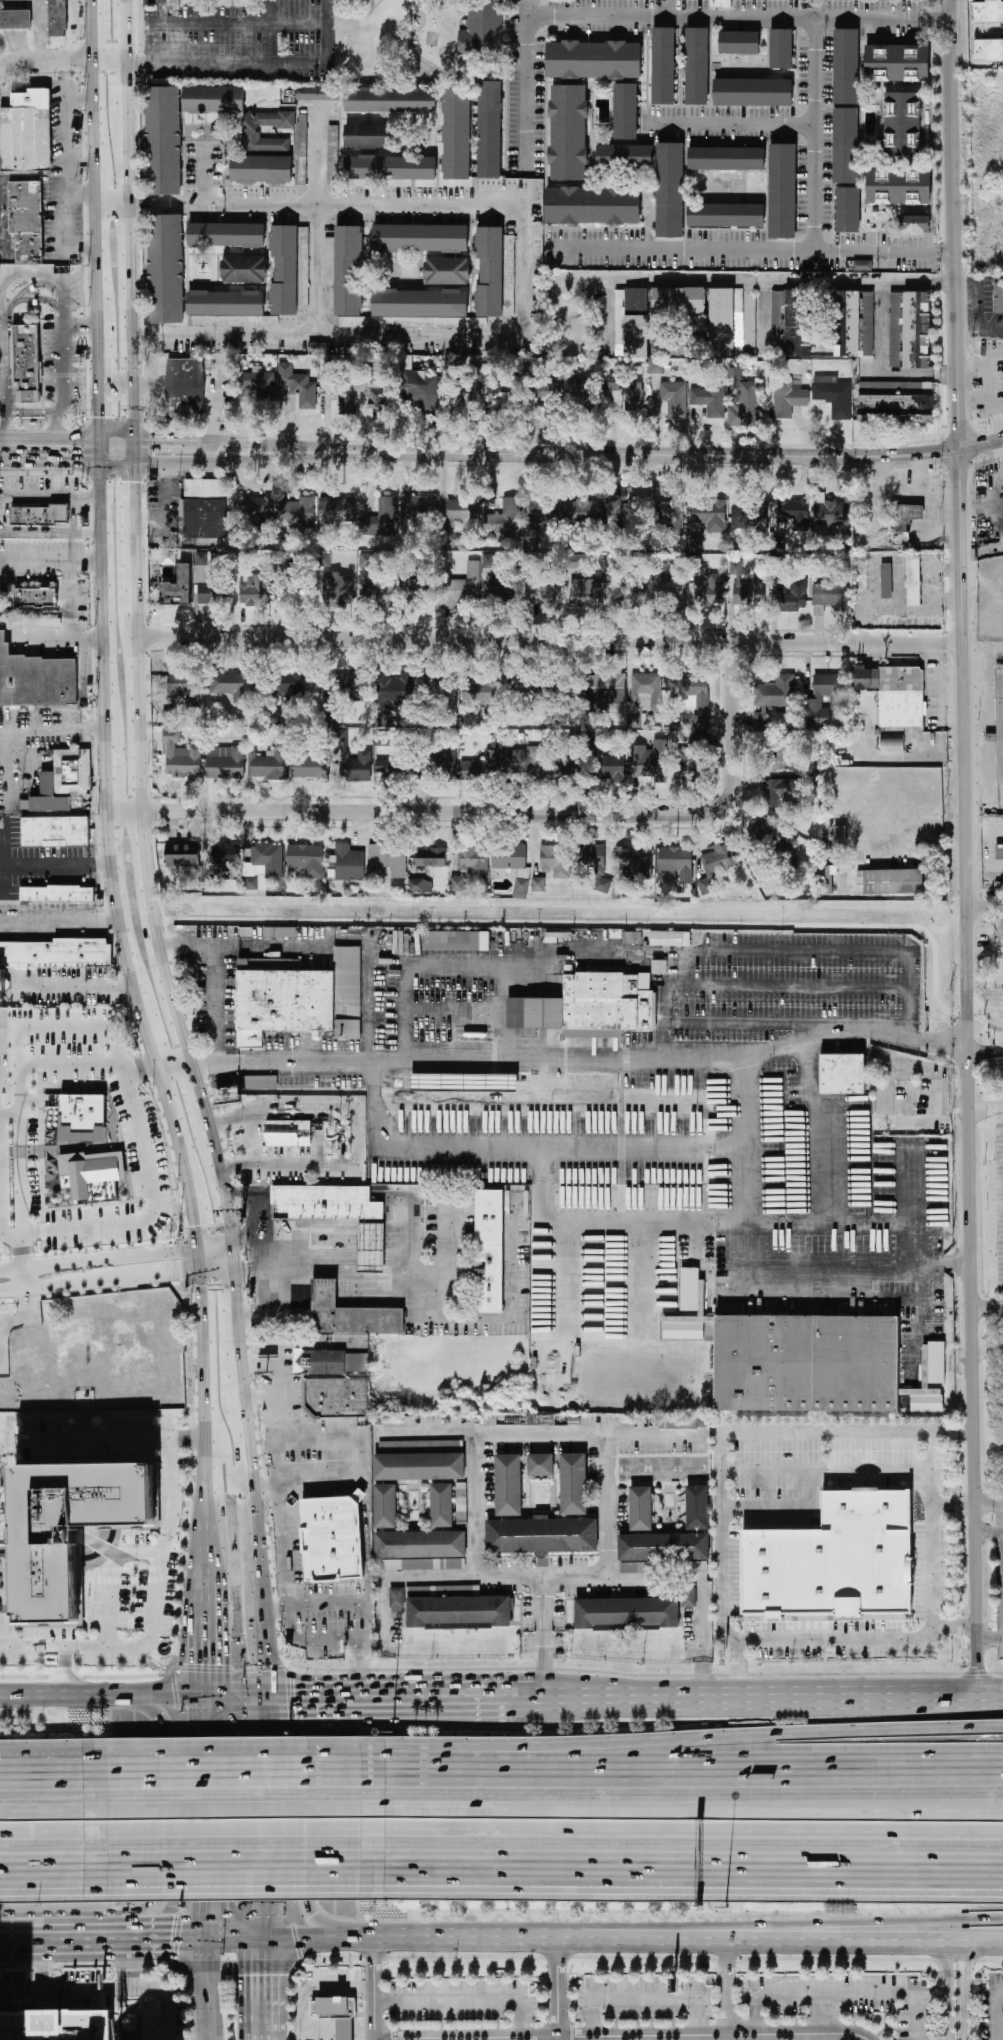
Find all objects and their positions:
building: (988, 12)
building: (57, 18)
road: (740, 19)
building: (15, 20)
road: (220, 25)
building: (482, 30)
road: (40, 31)
road: (13, 32)
road: (95, 32)
road: (269, 32)
building: (739, 43)
building: (781, 49)
building: (988, 50)
building: (594, 60)
road: (47, 62)
building: (897, 63)
road: (110, 64)
road: (258, 64)
building: (663, 66)
building: (697, 66)
building: (846, 66)
road: (493, 70)
road: (64, 80)
road: (527, 92)
building: (753, 92)
building: (318, 93)
road: (81, 96)
building: (391, 100)
road: (96, 102)
building: (625, 112)
road: (732, 123)
building: (902, 124)
building: (179, 127)
road: (67, 129)
building: (490, 130)
building: (27, 132)
building: (568, 133)
building: (456, 134)
road: (819, 135)
building: (367, 136)
building: (845, 145)
building: (263, 151)
building: (624, 156)
building: (726, 158)
road: (82, 166)
building: (390, 168)
road: (204, 175)
road: (70, 177)
road: (98, 185)
building: (899, 186)
building: (670, 190)
building: (782, 191)
road: (222, 204)
road: (59, 205)
road: (421, 205)
building: (592, 205)
building: (848, 210)
building: (726, 215)
road: (317, 217)
road: (127, 219)
building: (26, 220)
building: (913, 225)
road: (113, 232)
building: (226, 235)
building: (420, 238)
road: (754, 250)
road: (80, 252)
building: (285, 256)
building: (862, 265)
building: (166, 268)
building: (244, 269)
building: (447, 270)
road: (525, 270)
road: (49, 274)
building: (493, 275)
road: (101, 278)
building: (350, 279)
road: (39, 283)
road: (760, 285)
building: (998, 297)
building: (678, 301)
building: (420, 306)
road: (607, 314)
road: (770, 318)
building: (636, 323)
building: (853, 324)
road: (980, 327)
road: (5, 328)
building: (910, 330)
road: (326, 336)
road: (104, 348)
road: (62, 362)
building: (25, 366)
building: (656, 366)
road: (886, 367)
road: (0, 379)
building: (259, 384)
building: (184, 389)
building: (294, 389)
road: (115, 390)
building: (421, 391)
building: (580, 391)
building: (340, 394)
building: (499, 396)
building: (833, 396)
building: (634, 397)
building: (674, 398)
building: (378, 399)
building: (551, 399)
building: (788, 399)
building: (709, 400)
building: (895, 402)
road: (105, 405)
building: (744, 406)
road: (31, 412)
traffic signals: (105, 417)
road: (6, 425)
road: (52, 439)
road: (115, 439)
traffic signals: (150, 439)
road: (162, 439)
road: (273, 442)
road: (105, 452)
road: (126, 452)
road: (676, 457)
road: (237, 462)
road: (12, 465)
road: (64, 465)
traffic signals: (83, 466)
road: (115, 466)
road: (170, 471)
traffic signals: (126, 483)
road: (52, 497)
road: (126, 500)
building: (419, 507)
building: (258, 508)
road: (170, 509)
building: (462, 510)
building: (337, 511)
building: (296, 512)
building: (830, 512)
building: (584, 513)
building: (793, 514)
building: (40, 515)
building: (670, 515)
building: (711, 515)
building: (504, 517)
building: (749, 517)
road: (137, 518)
building: (205, 518)
building: (382, 519)
building: (538, 519)
building: (902, 523)
road: (52, 533)
building: (695, 544)
road: (53, 556)
building: (167, 558)
building: (369, 560)
building: (578, 561)
building: (992, 563)
road: (127, 566)
building: (913, 580)
building: (886, 581)
building: (478, 585)
building: (177, 587)
building: (416, 588)
building: (664, 588)
building: (745, 588)
building: (255, 590)
building: (297, 590)
building: (337, 590)
building: (709, 591)
building: (207, 592)
building: (543, 594)
building: (585, 594)
building: (378, 595)
building: (793, 596)
building: (830, 596)
building: (34, 597)
road: (70, 598)
road: (171, 611)
building: (38, 623)
road: (75, 639)
road: (546, 641)
building: (35, 680)
building: (288, 683)
building: (233, 685)
building: (182, 687)
building: (394, 690)
building: (438, 691)
building: (480, 691)
building: (646, 691)
building: (694, 691)
building: (606, 694)
building: (895, 694)
building: (771, 698)
building: (822, 700)
building: (170, 715)
building: (700, 721)
building: (998, 724)
road: (55, 725)
building: (697, 739)
building: (892, 743)
building: (784, 753)
building: (180, 757)
building: (650, 761)
building: (225, 762)
building: (352, 762)
building: (522, 763)
building: (267, 765)
building: (445, 765)
building: (309, 767)
building: (480, 767)
building: (386, 768)
building: (610, 768)
building: (563, 769)
building: (688, 770)
road: (108, 773)
building: (61, 782)
building: (781, 794)
road: (500, 813)
road: (931, 826)
building: (55, 832)
road: (137, 834)
building: (837, 839)
road: (965, 847)
building: (999, 851)
building: (182, 855)
building: (430, 857)
building: (509, 857)
building: (592, 857)
building: (226, 858)
building: (268, 858)
building: (473, 860)
building: (305, 861)
building: (387, 861)
building: (555, 861)
building: (677, 862)
building: (347, 863)
road: (39, 865)
building: (633, 865)
building: (715, 865)
building: (253, 877)
building: (890, 881)
building: (457, 883)
building: (538, 884)
building: (602, 884)
building: (420, 885)
building: (521, 888)
building: (58, 894)
road: (984, 907)
road: (60, 925)
building: (669, 939)
building: (456, 941)
road: (241, 944)
road: (618, 946)
building: (58, 953)
building: (659, 966)
building: (2, 984)
road: (76, 986)
building: (299, 999)
road: (221, 1001)
road: (411, 1005)
building: (590, 1006)
road: (436, 1009)
road: (985, 1050)
road: (582, 1058)
building: (842, 1074)
building: (259, 1082)
road: (18, 1096)
road: (196, 1097)
road: (986, 1105)
building: (82, 1117)
road: (353, 1131)
building: (287, 1133)
road: (178, 1134)
road: (518, 1148)
road: (801, 1166)
building: (92, 1175)
road: (143, 1175)
road: (217, 1186)
road: (865, 1195)
building: (325, 1203)
road: (257, 1205)
road: (198, 1220)
road: (256, 1239)
road: (213, 1244)
building: (370, 1247)
building: (489, 1251)
road: (21, 1252)
road: (288, 1254)
road: (226, 1255)
road: (202, 1257)
road: (748, 1257)
road: (100, 1258)
road: (943, 1264)
road: (216, 1268)
road: (258, 1268)
road: (400, 1270)
road: (917, 1272)
road: (101, 1279)
building: (689, 1289)
road: (446, 1298)
road: (987, 1306)
building: (350, 1314)
building: (687, 1324)
road: (232, 1332)
road: (277, 1347)
building: (328, 1362)
building: (808, 1362)
road: (204, 1366)
road: (257, 1396)
building: (335, 1398)
road: (280, 1416)
building: (399, 1421)
building: (680, 1423)
road: (846, 1433)
road: (540, 1434)
road: (314, 1436)
road: (134, 1439)
road: (241, 1440)
road: (223, 1449)
building: (541, 1465)
building: (419, 1466)
road: (825, 1470)
road: (261, 1482)
building: (573, 1484)
building: (508, 1485)
road: (204, 1493)
building: (358, 1494)
road: (988, 1501)
road: (472, 1503)
building: (442, 1505)
road: (608, 1507)
building: (641, 1508)
building: (697, 1508)
road: (846, 1509)
road: (365, 1516)
road: (250, 1522)
building: (69, 1529)
road: (929, 1531)
road: (988, 1531)
building: (542, 1536)
building: (332, 1538)
building: (412, 1540)
road: (719, 1541)
road: (203, 1547)
building: (825, 1573)
road: (112, 1579)
road: (562, 1580)
road: (203, 1591)
road: (285, 1593)
building: (688, 1595)
building: (397, 1597)
road: (327, 1602)
road: (273, 1606)
building: (458, 1611)
road: (151, 1613)
building: (626, 1613)
road: (260, 1625)
road: (542, 1635)
road: (858, 1639)
road: (989, 1639)
road: (202, 1649)
road: (359, 1662)
road: (65, 1667)
road: (739, 1667)
traffic signals: (202, 1688)
road: (234, 1688)
traffic signals: (267, 1688)
road: (304, 1688)
road: (427, 1688)
road: (100, 1689)
road: (758, 1692)
road: (682, 1743)
road: (274, 1761)
road: (228, 1767)
road: (47, 1769)
road: (682, 1769)
road: (682, 1807)
road: (229, 1808)
road: (48, 1810)
road: (171, 1814)
road: (203, 1816)
road: (262, 1816)
road: (294, 1819)
road: (227, 1830)
road: (680, 1830)
road: (48, 1831)
road: (229, 1873)
road: (631, 1873)
road: (48, 1874)
road: (952, 1874)
road: (7, 1875)
road: (952, 1877)
road: (813, 1925)
road: (176, 1938)
road: (489, 1940)
road: (306, 1941)
road: (297, 1942)
road: (231, 1944)
traffic signals: (257, 1944)
road: (813, 1944)
road: (64, 1945)
road: (167, 1945)
traffic signals: (205, 1945)
road: (372, 1955)
road: (465, 1956)
road: (351, 1962)
road: (129, 1965)
road: (129, 1965)
road: (84, 1966)
road: (296, 1966)
road: (15, 1967)
road: (42, 1967)
road: (43, 1967)
road: (236, 1967)
road: (351, 1981)
road: (187, 1983)
road: (107, 1986)
road: (374, 1989)
road: (727, 1989)
road: (557, 1990)
road: (28, 1991)
road: (61, 1991)
road: (258, 1991)
road: (206, 1992)
road: (944, 1993)
road: (965, 1993)
road: (351, 1994)
road: (568, 1994)
road: (839, 1995)
road: (300, 1996)
parking lot: (644, 1997)
road: (648, 1997)
road: (60, 1999)
parking lot: (844, 1999)
road: (35, 2000)
parking lot: (465, 2000)
road: (465, 2001)
parking lot: (991, 2009)
road: (137, 2010)
road: (164, 2010)
road: (996, 2011)
road: (820, 2014)
building: (336, 2015)
road: (498, 2023)
building: (56, 2024)
road: (414, 2024)
road: (441, 2024)
road: (456, 2024)
road: (482, 2024)
road: (147, 2025)
road: (399, 2025)
road: (572, 2031)
road: (497, 2033)
road: (399, 2034)
road: (414, 2034)
road: (441, 2034)
road: (456, 2034)
road: (482, 2034)
road: (289, 2035)
road: (621, 2035)
road: (820, 2037)
road: (286, 2038)
road: (364, 2038)
road: (191, 2039)

